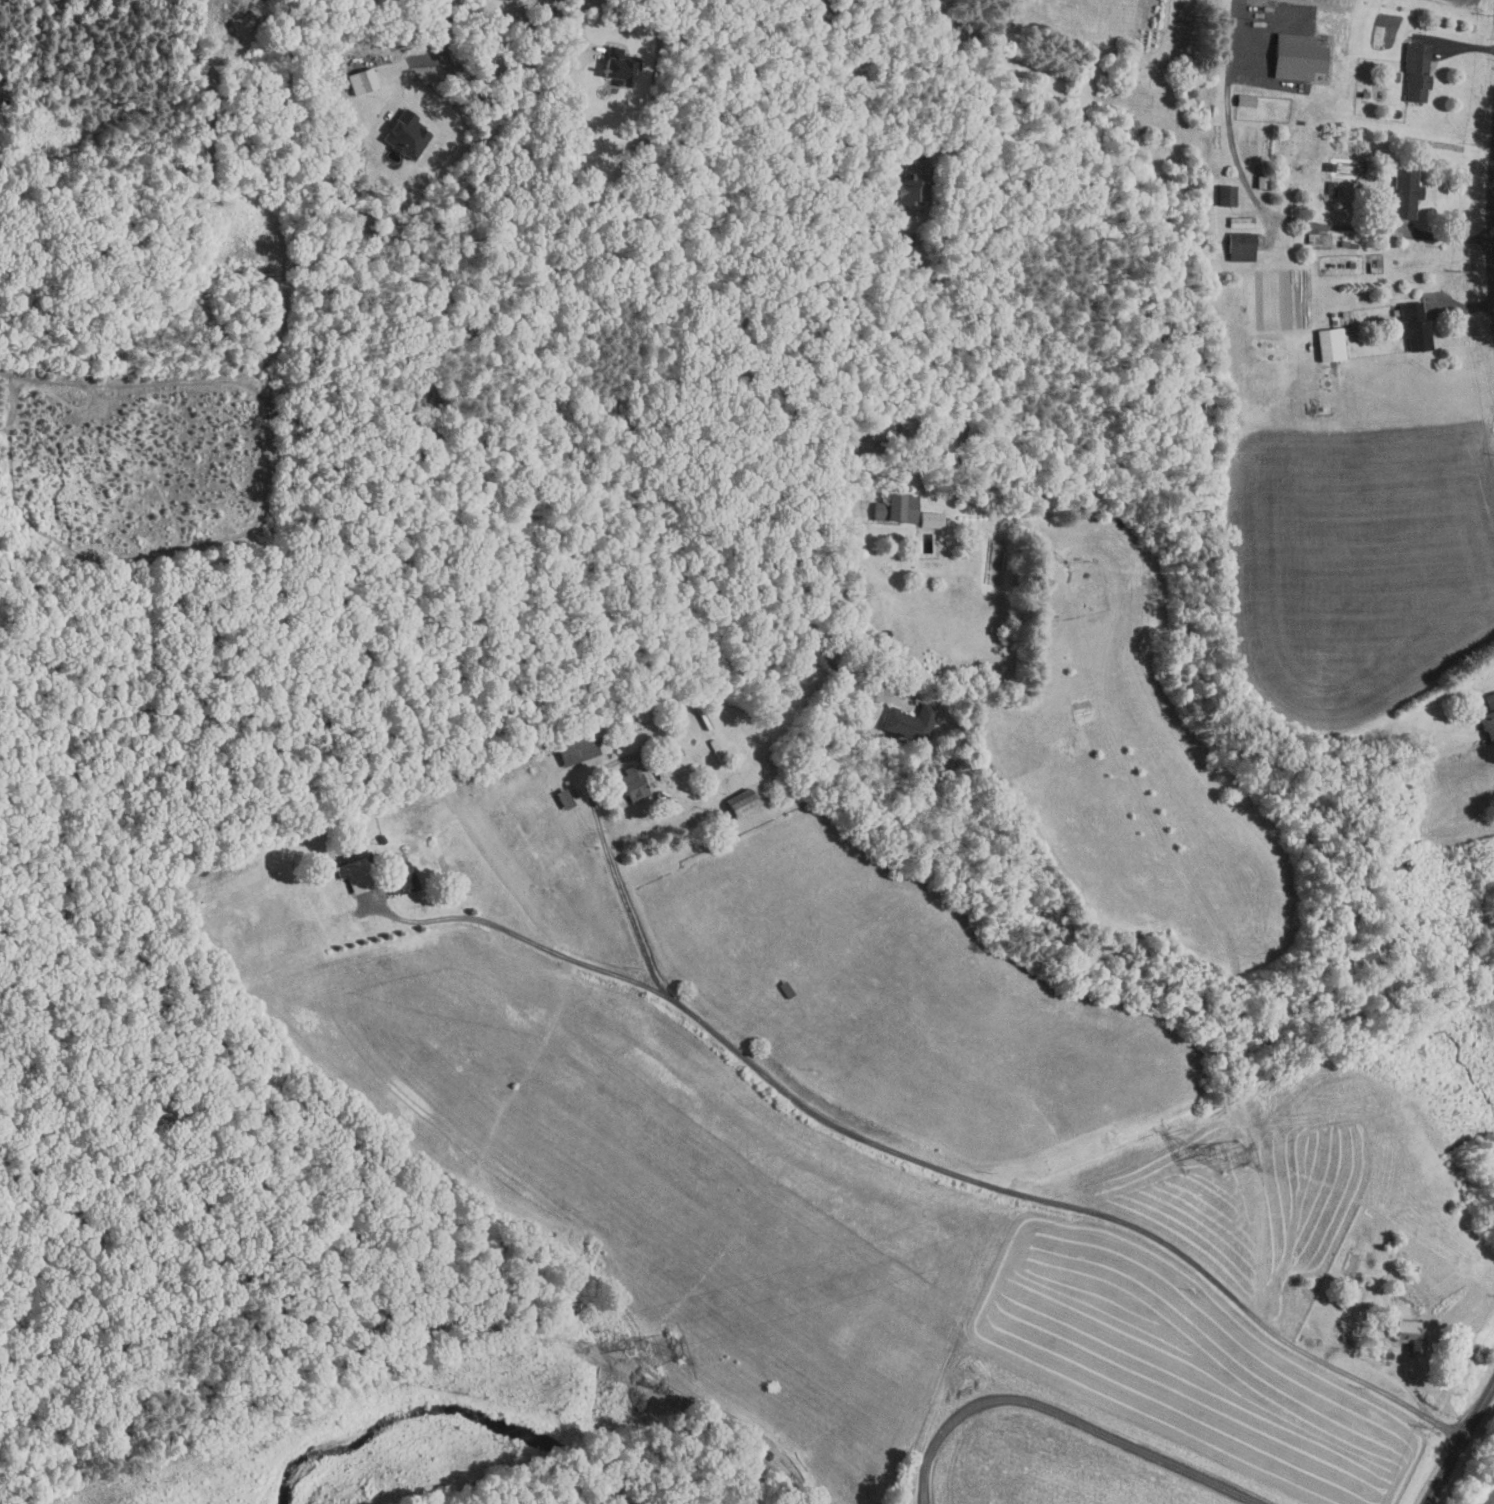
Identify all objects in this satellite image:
building: (511, 0)
road: (583, 21)
road: (445, 26)
road: (1453, 41)
building: (1295, 56)
building: (616, 64)
road: (400, 70)
building: (1415, 71)
building: (359, 80)
building: (402, 134)
building: (1260, 181)
building: (913, 183)
building: (1330, 188)
building: (1403, 193)
building: (1224, 194)
road: (1270, 211)
building: (1239, 221)
building: (1316, 240)
building: (1239, 246)
road: (1490, 247)
road: (855, 252)
road: (283, 317)
building: (1412, 326)
building: (1329, 344)
building: (895, 508)
building: (929, 520)
road: (800, 582)
building: (641, 713)
building: (1488, 718)
building: (908, 722)
building: (576, 747)
building: (631, 784)
building: (738, 806)
road: (606, 858)
building: (351, 876)
building: (400, 879)
power tower: (1236, 1155)
road: (920, 1160)
building: (1407, 1338)
power tower: (668, 1349)
road: (1459, 1444)

